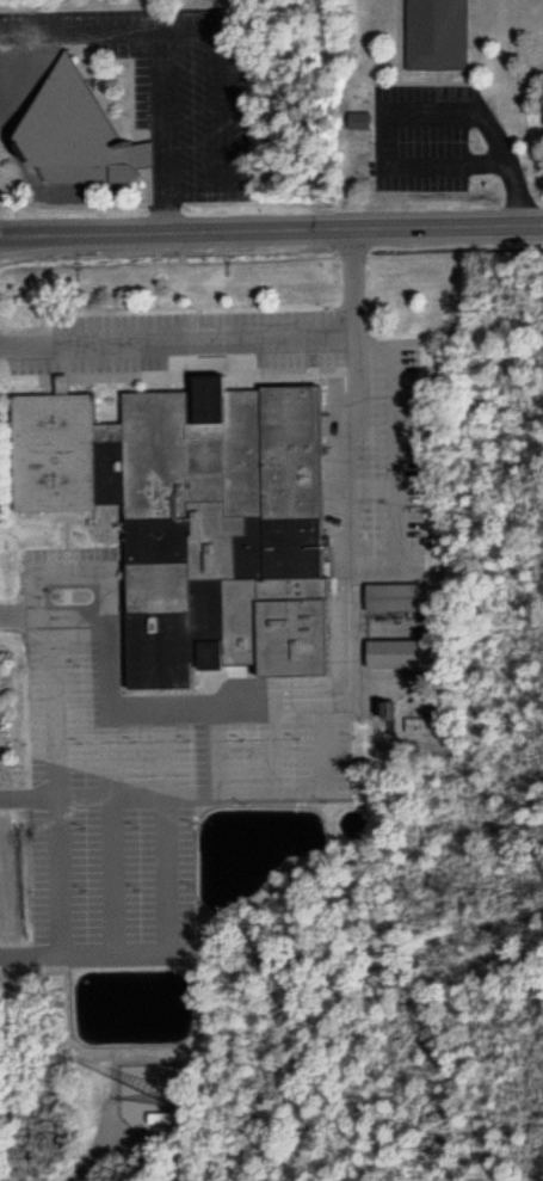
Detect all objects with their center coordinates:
building: (431, 35)
building: (353, 119)
building: (81, 122)
road: (271, 229)
road: (177, 336)
road: (394, 466)
building: (211, 503)
road: (74, 571)
building: (395, 593)
building: (396, 646)
road: (350, 672)
road: (111, 718)
road: (166, 718)
building: (416, 726)
road: (216, 739)
road: (323, 763)
road: (124, 792)
road: (27, 793)
road: (117, 871)
road: (58, 872)
road: (165, 951)
road: (95, 1150)

